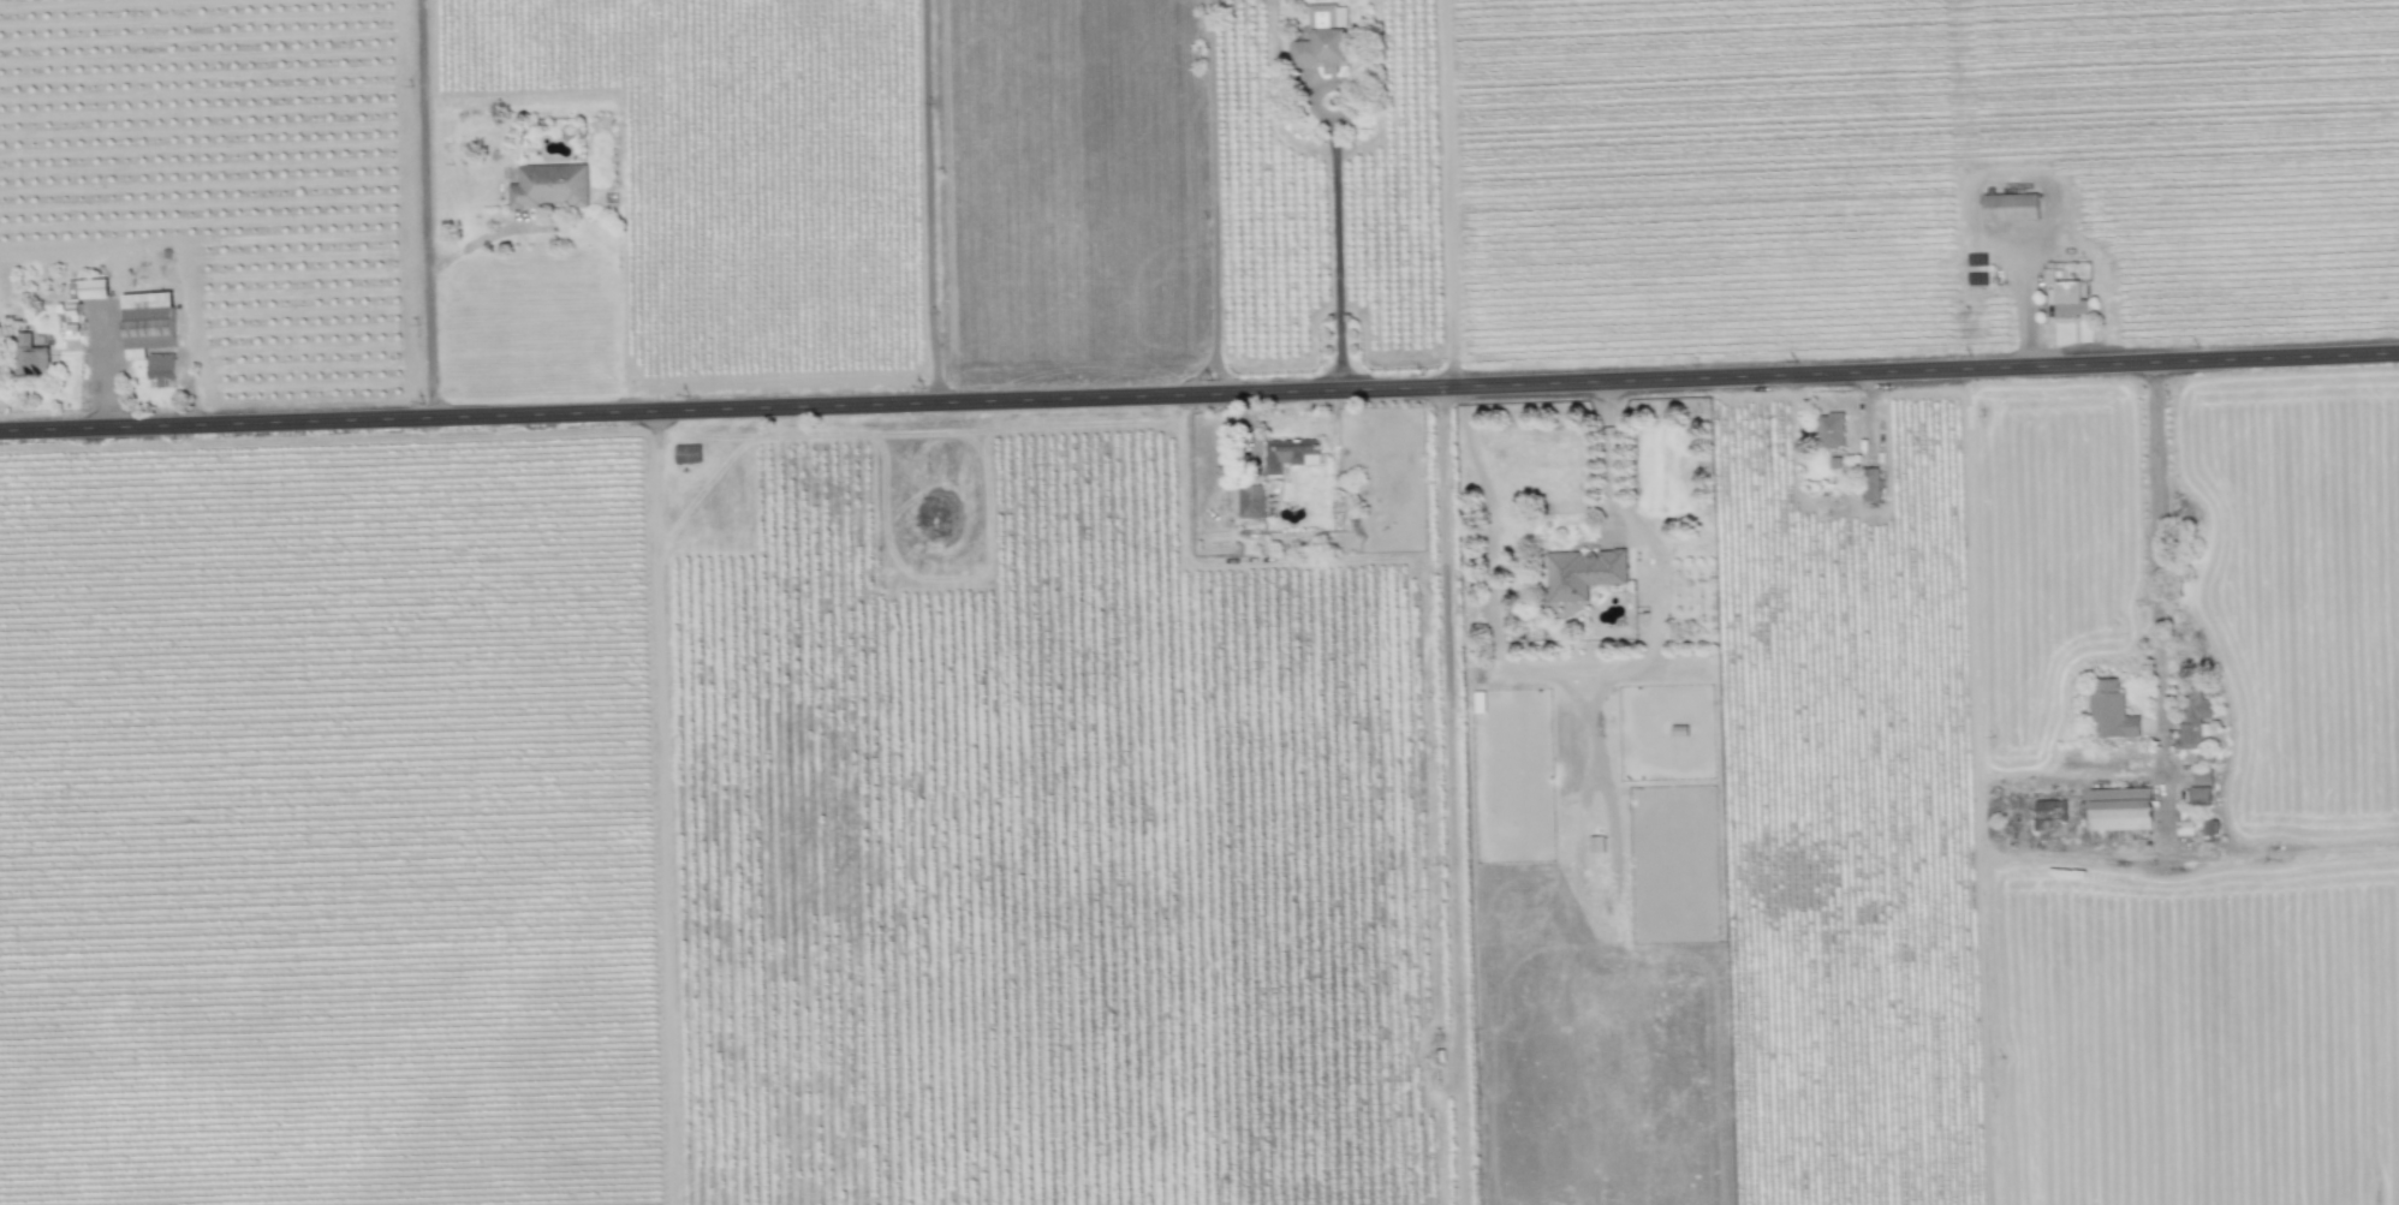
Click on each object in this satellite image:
building: (1322, 38)
building: (549, 186)
road: (924, 201)
building: (2010, 207)
road: (418, 208)
road: (1215, 213)
road: (1337, 246)
building: (2067, 299)
building: (147, 323)
building: (31, 358)
building: (160, 368)
road: (101, 369)
road: (1199, 393)
building: (1830, 431)
building: (1290, 454)
road: (1611, 454)
building: (1869, 484)
building: (1250, 502)
building: (1582, 573)
building: (2109, 710)
building: (2192, 717)
building: (2202, 777)
road: (1451, 795)
building: (2119, 809)
building: (2184, 825)
road: (2072, 854)

